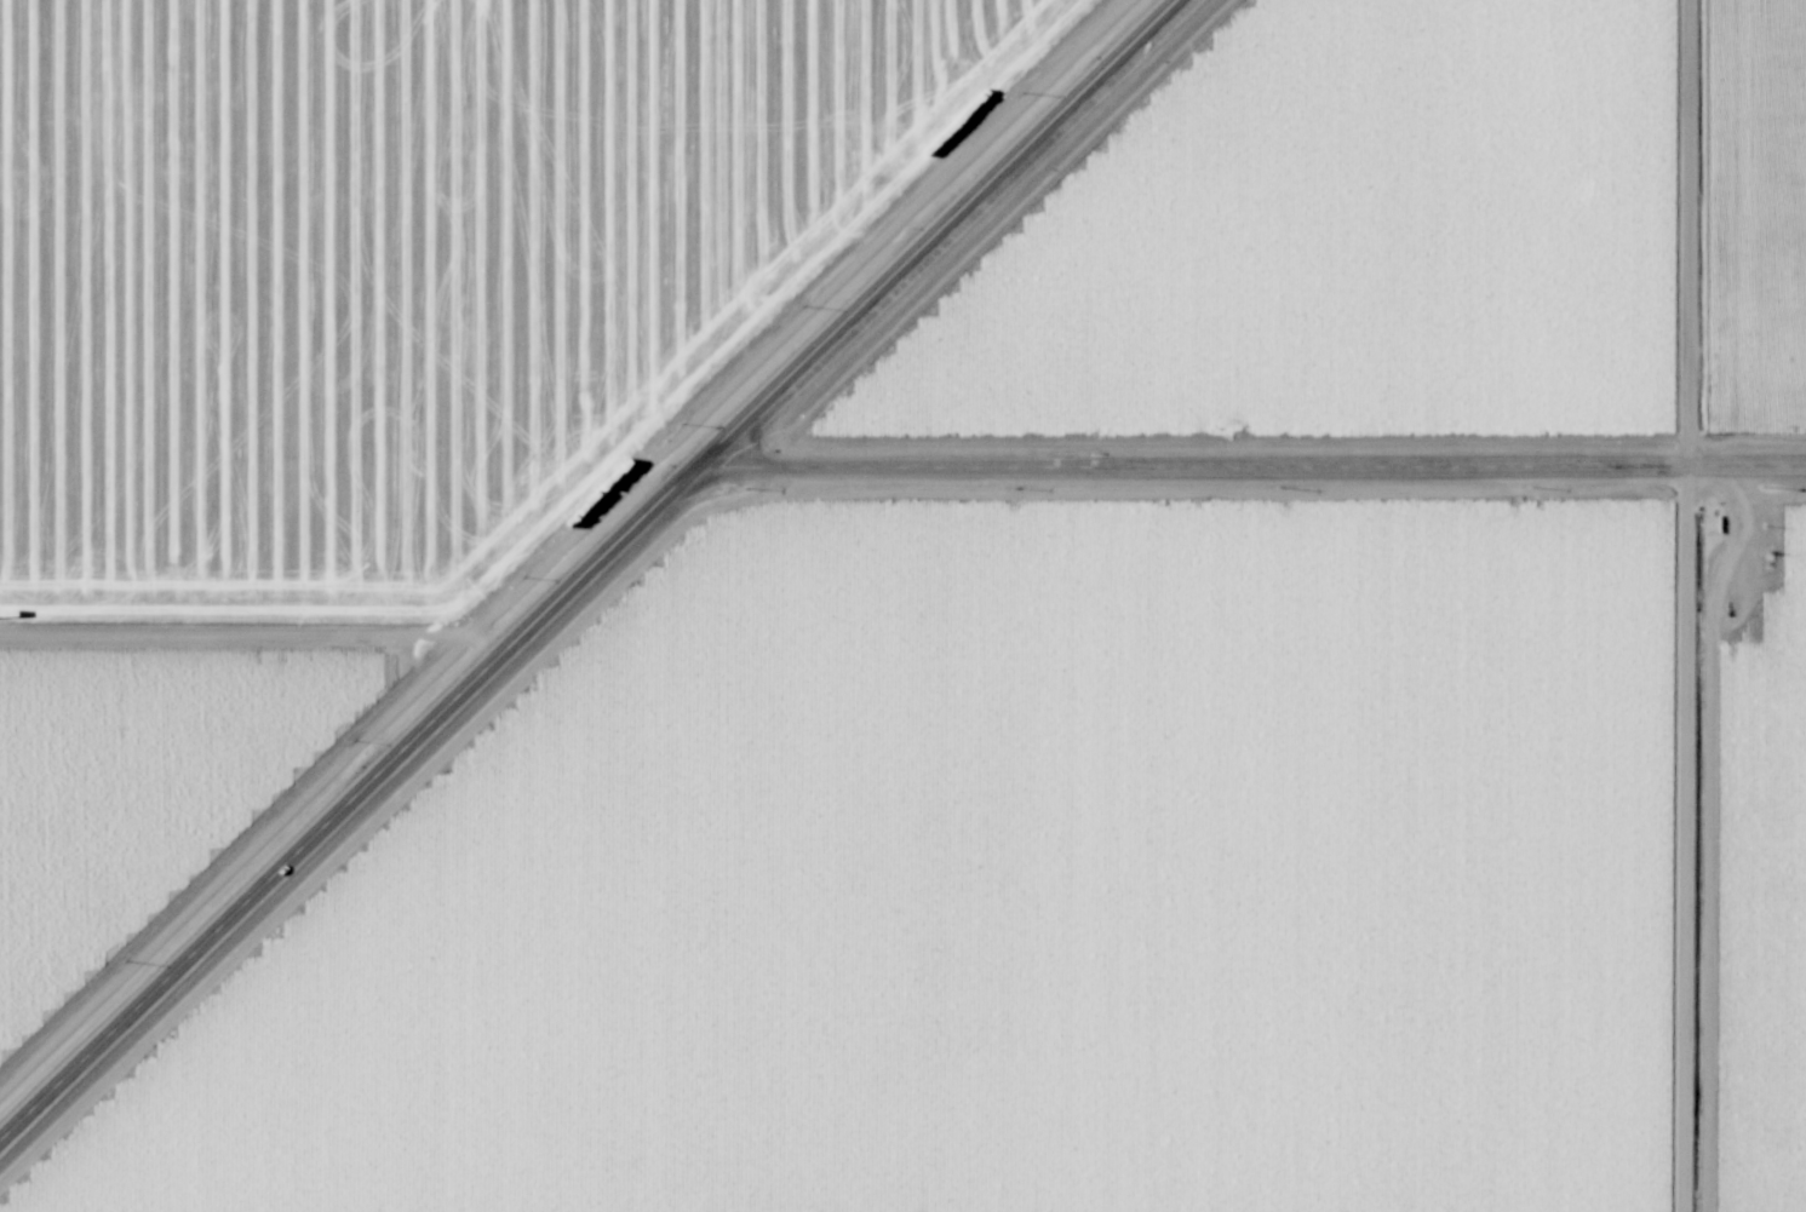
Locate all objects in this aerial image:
road: (1263, 482)
road: (595, 574)
road: (1697, 605)

